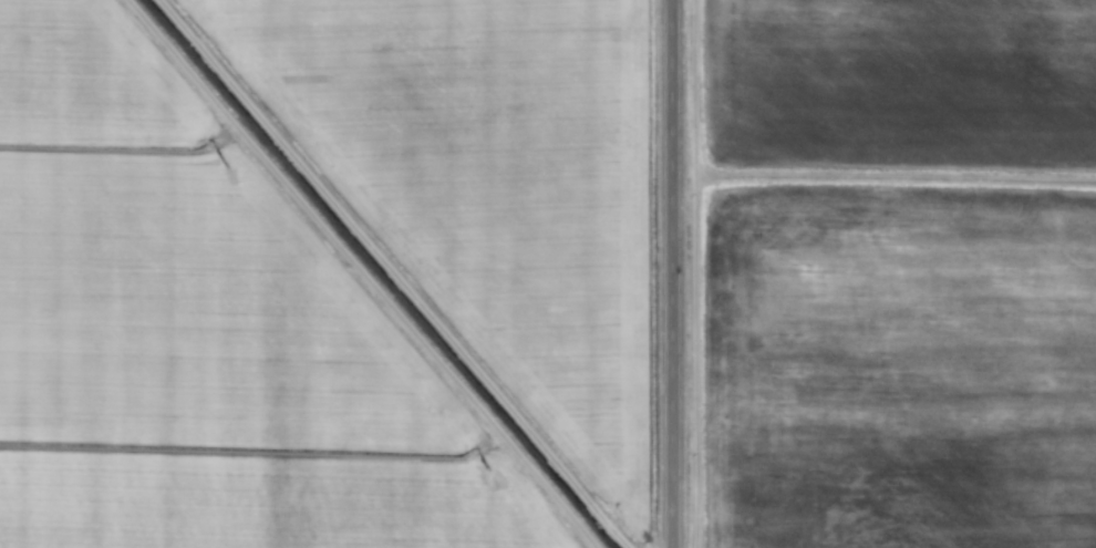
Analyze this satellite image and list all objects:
road: (670, 273)

